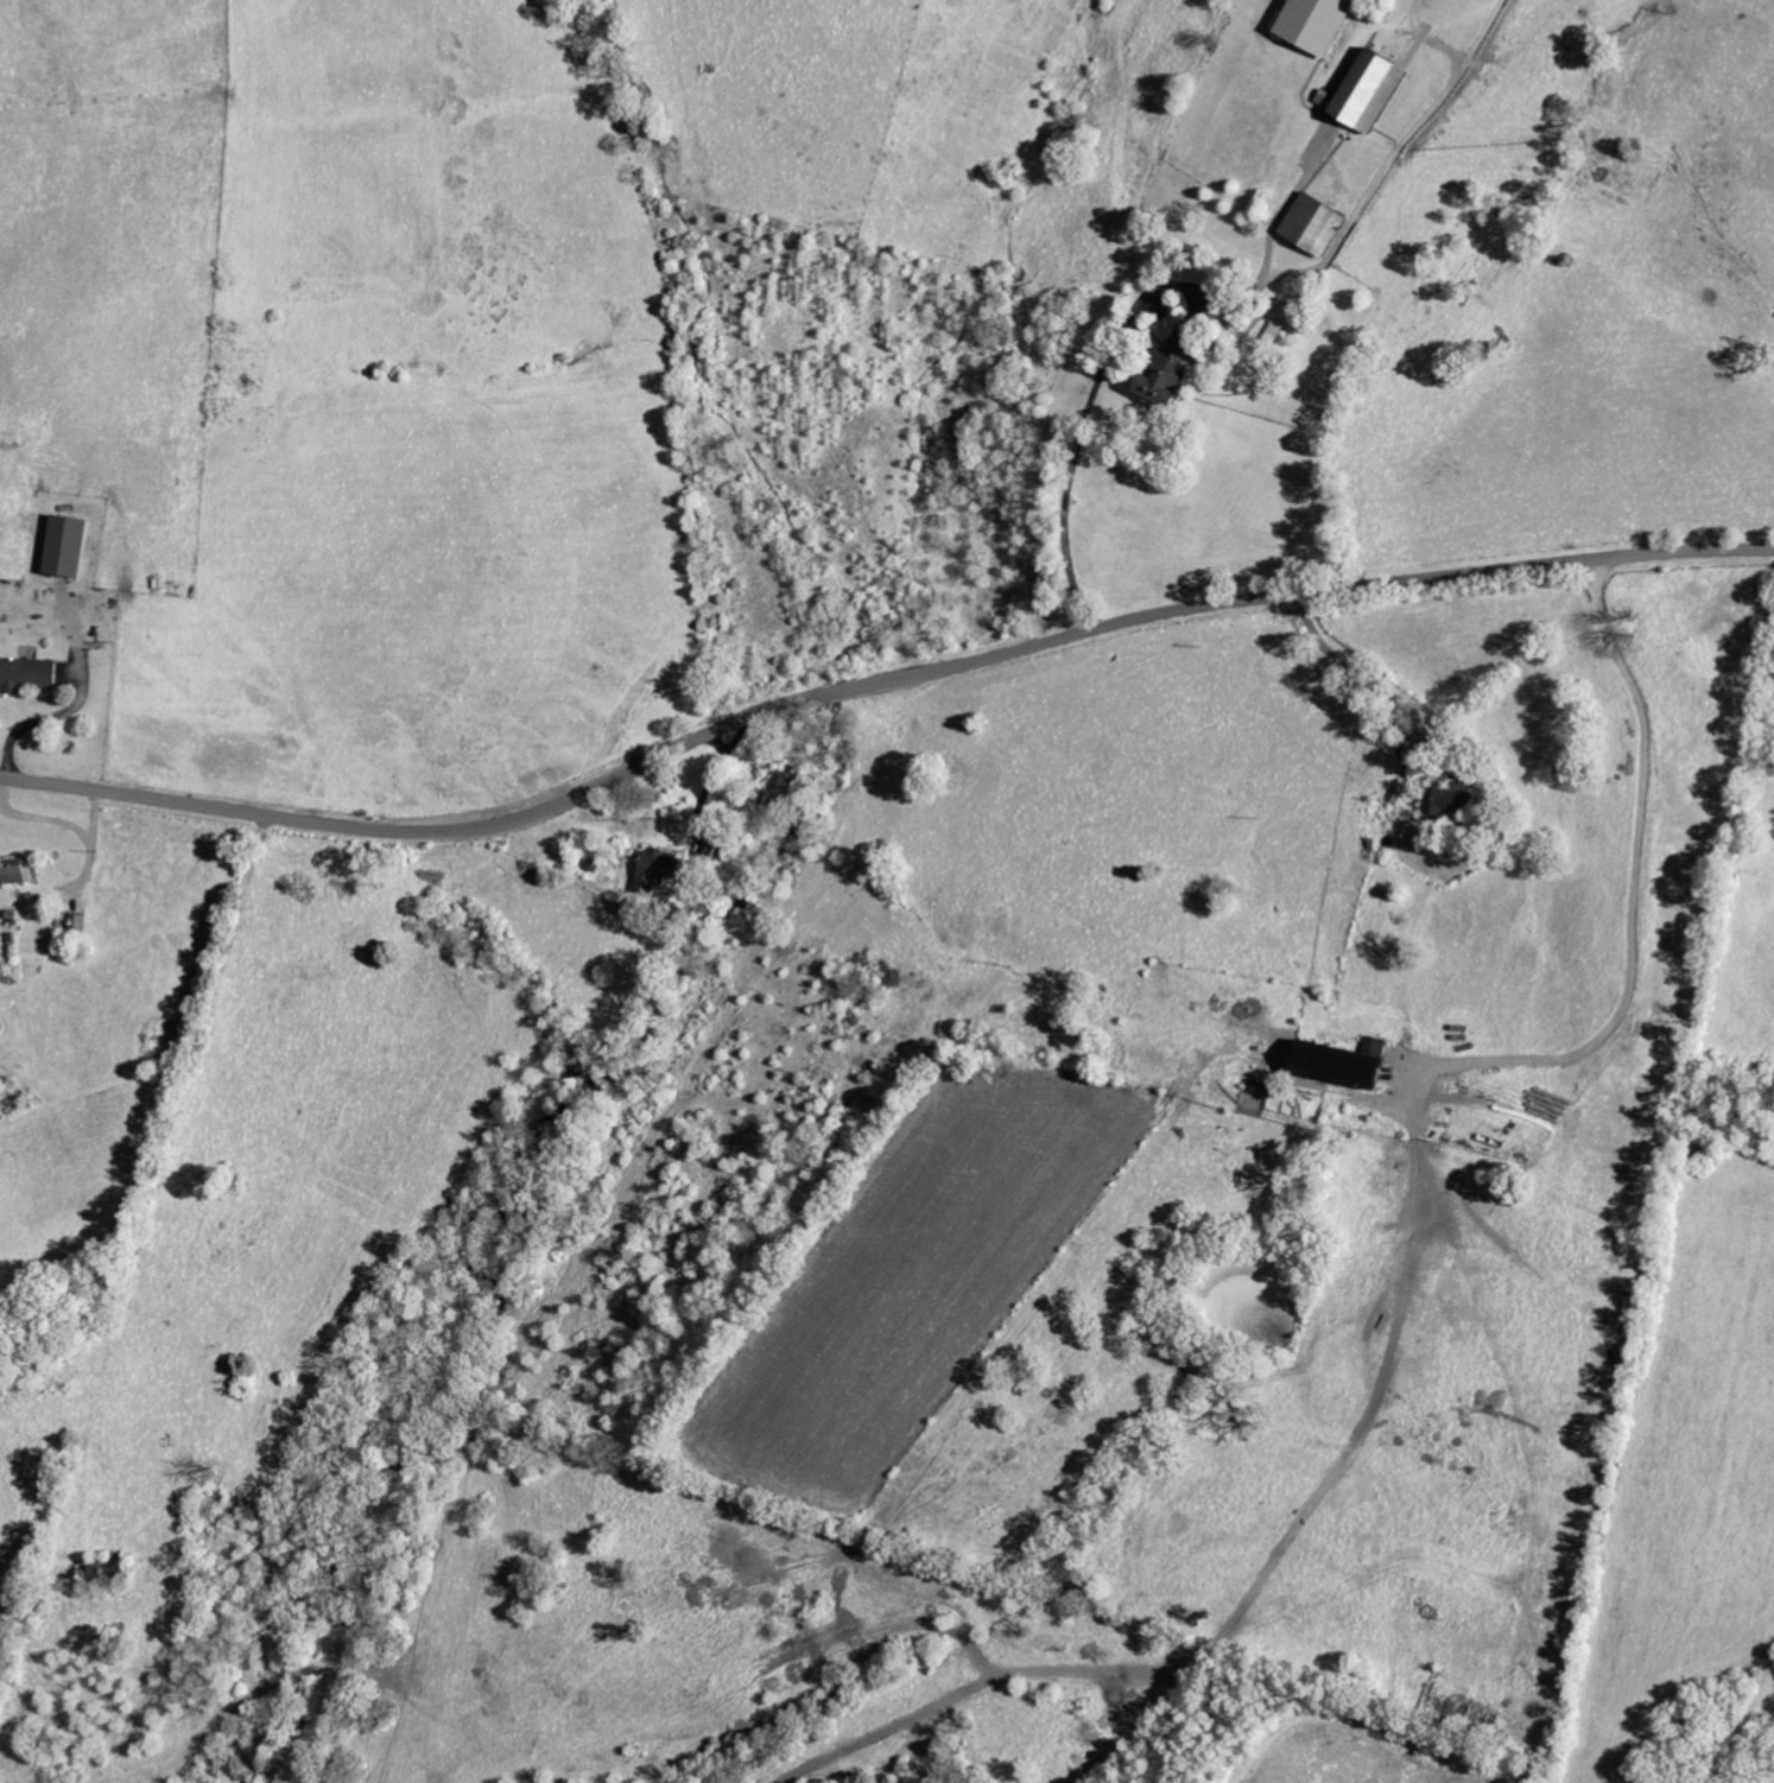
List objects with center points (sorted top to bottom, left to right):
building: (1317, 24)
building: (1368, 91)
building: (1314, 224)
road: (1124, 330)
building: (1274, 330)
building: (1171, 368)
building: (65, 544)
road: (1347, 670)
building: (26, 673)
road: (878, 684)
road: (45, 717)
building: (785, 775)
road: (711, 776)
building: (1449, 798)
building: (655, 869)
building: (17, 873)
road: (1633, 899)
building: (1339, 1064)

